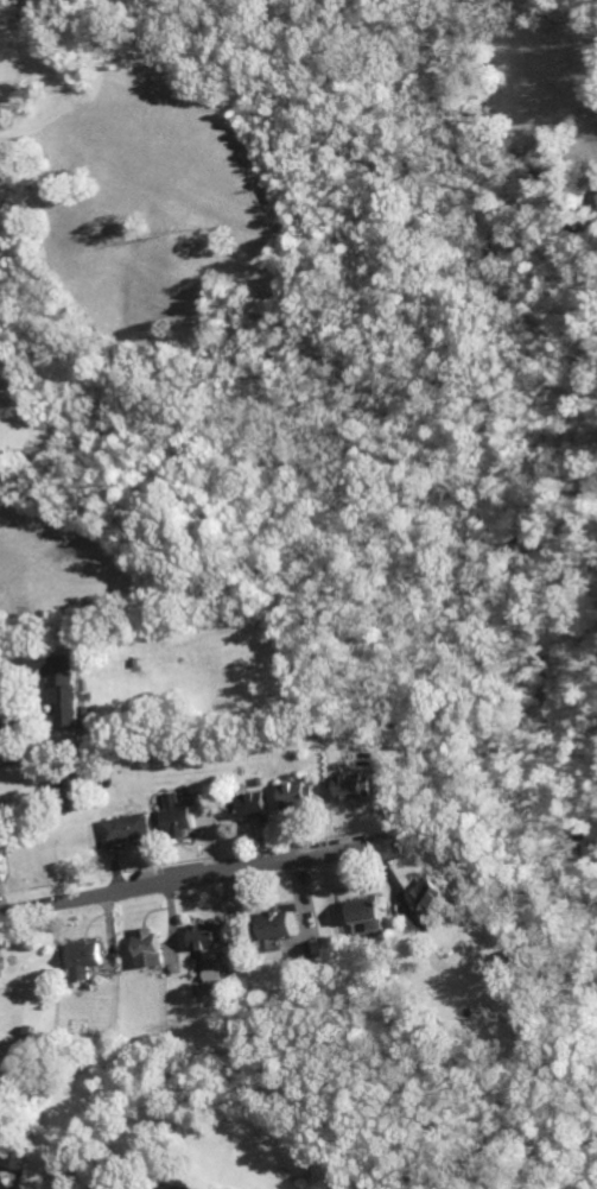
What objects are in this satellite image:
building: (62, 687)
building: (11, 728)
road: (45, 751)
building: (353, 784)
building: (294, 795)
building: (246, 803)
building: (178, 816)
building: (123, 830)
building: (2, 856)
road: (192, 879)
building: (430, 894)
building: (362, 909)
building: (274, 924)
building: (207, 931)
building: (146, 949)
building: (80, 959)
building: (20, 1159)
building: (102, 1187)

